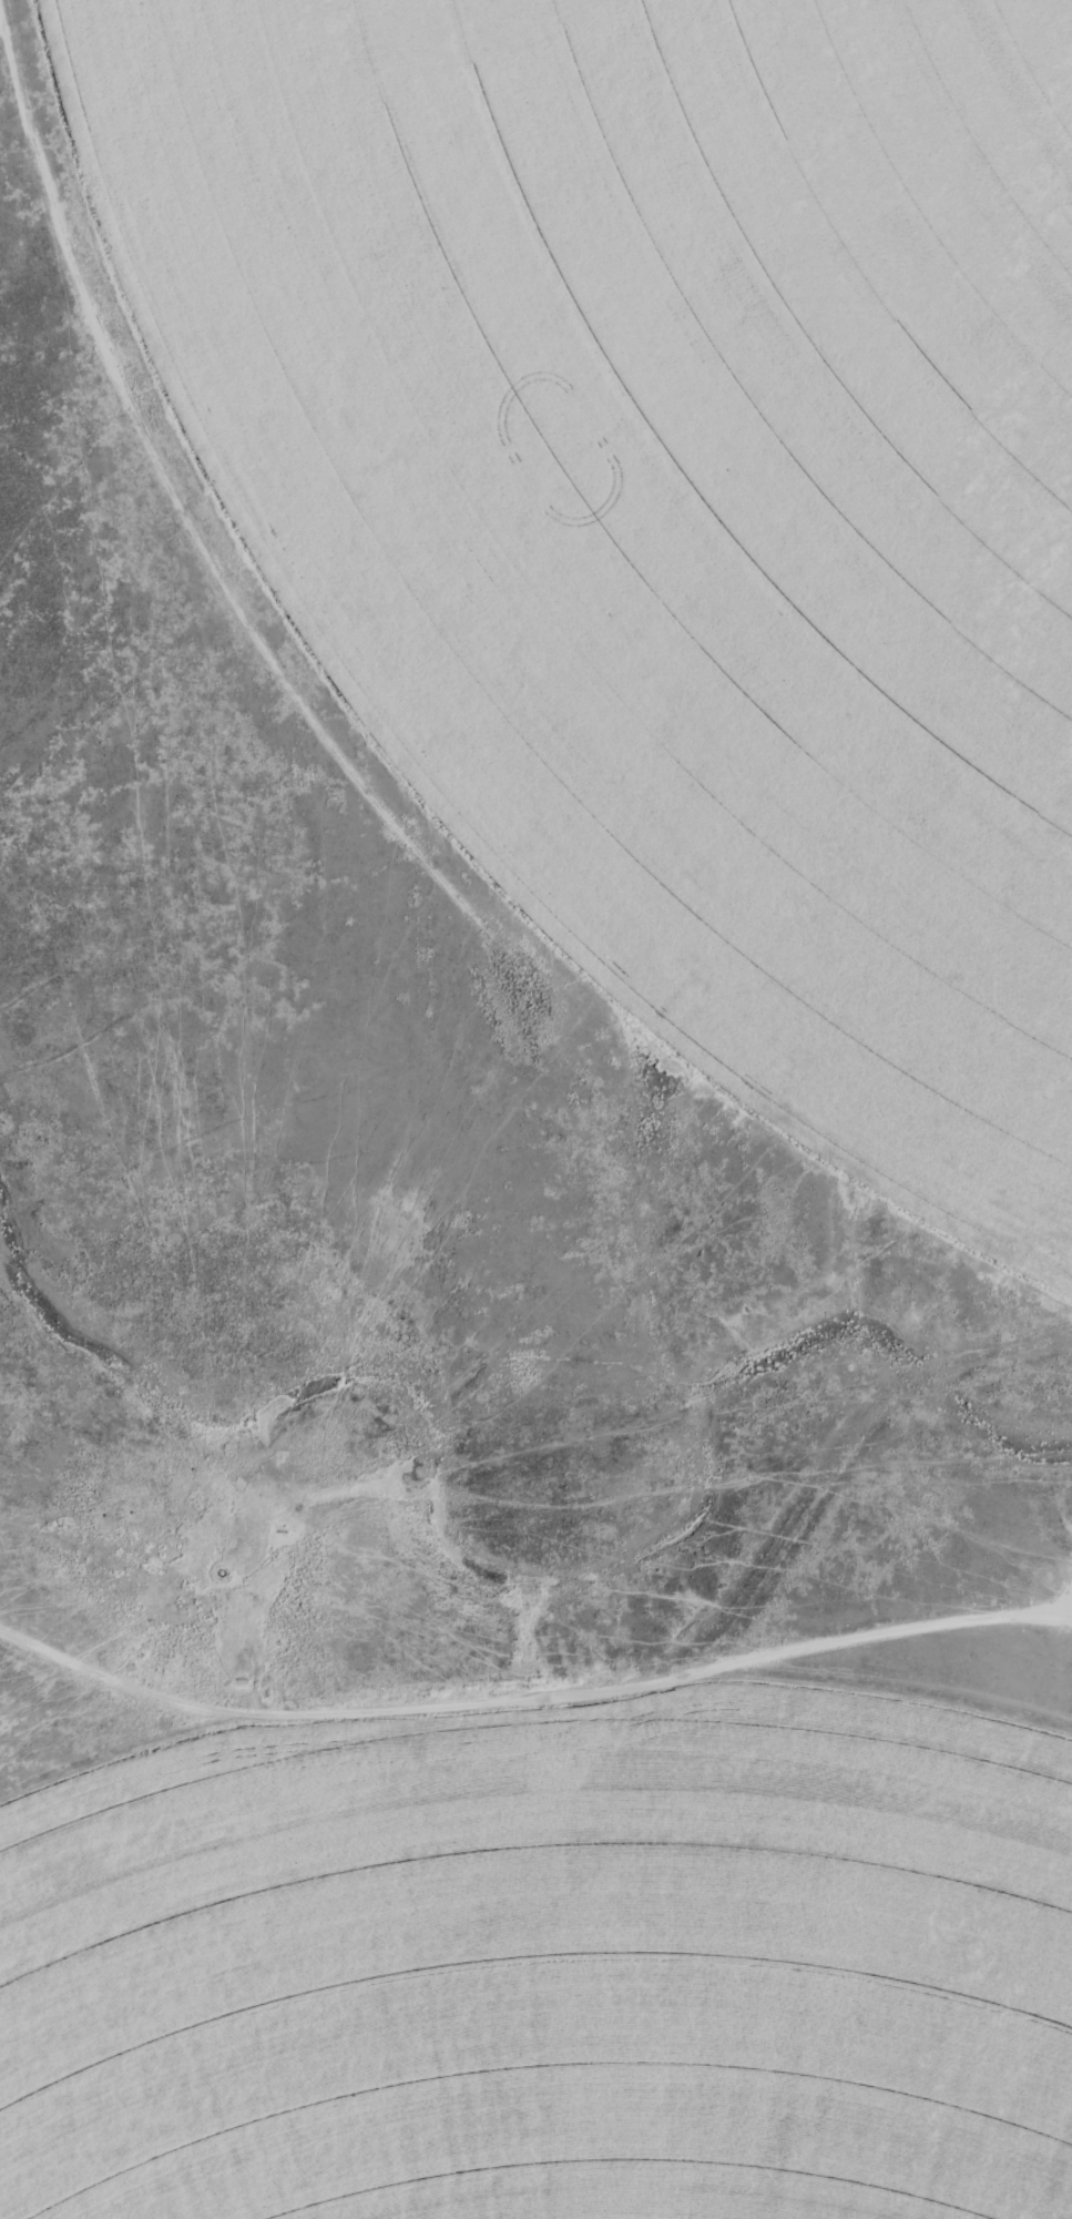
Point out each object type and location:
crop: (670, 498)
crop: (545, 1965)

